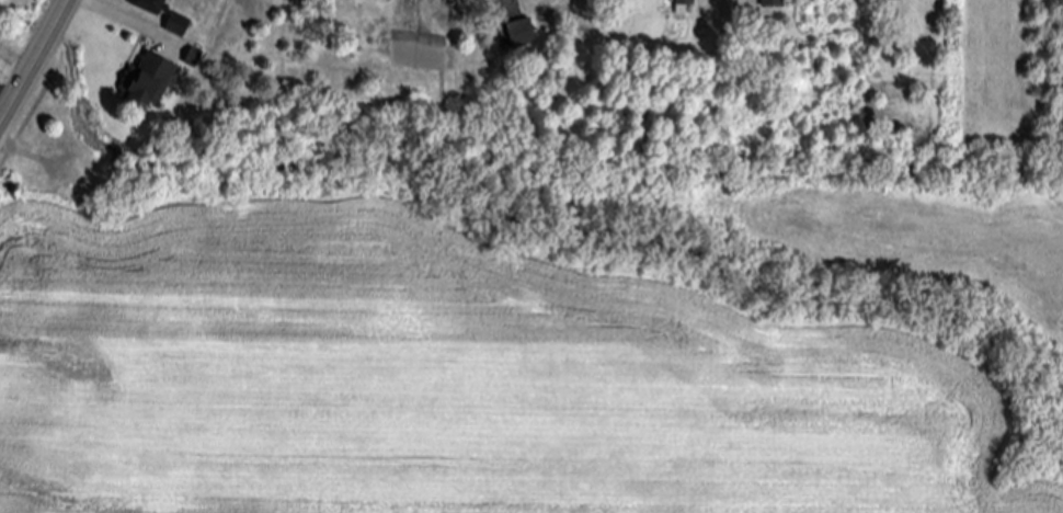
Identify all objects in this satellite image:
building: (893, 1)
building: (687, 2)
building: (775, 4)
building: (153, 7)
road: (115, 20)
building: (180, 26)
building: (523, 35)
building: (194, 59)
road: (36, 67)
building: (382, 68)
building: (149, 81)
road: (10, 96)
crop: (531, 344)

